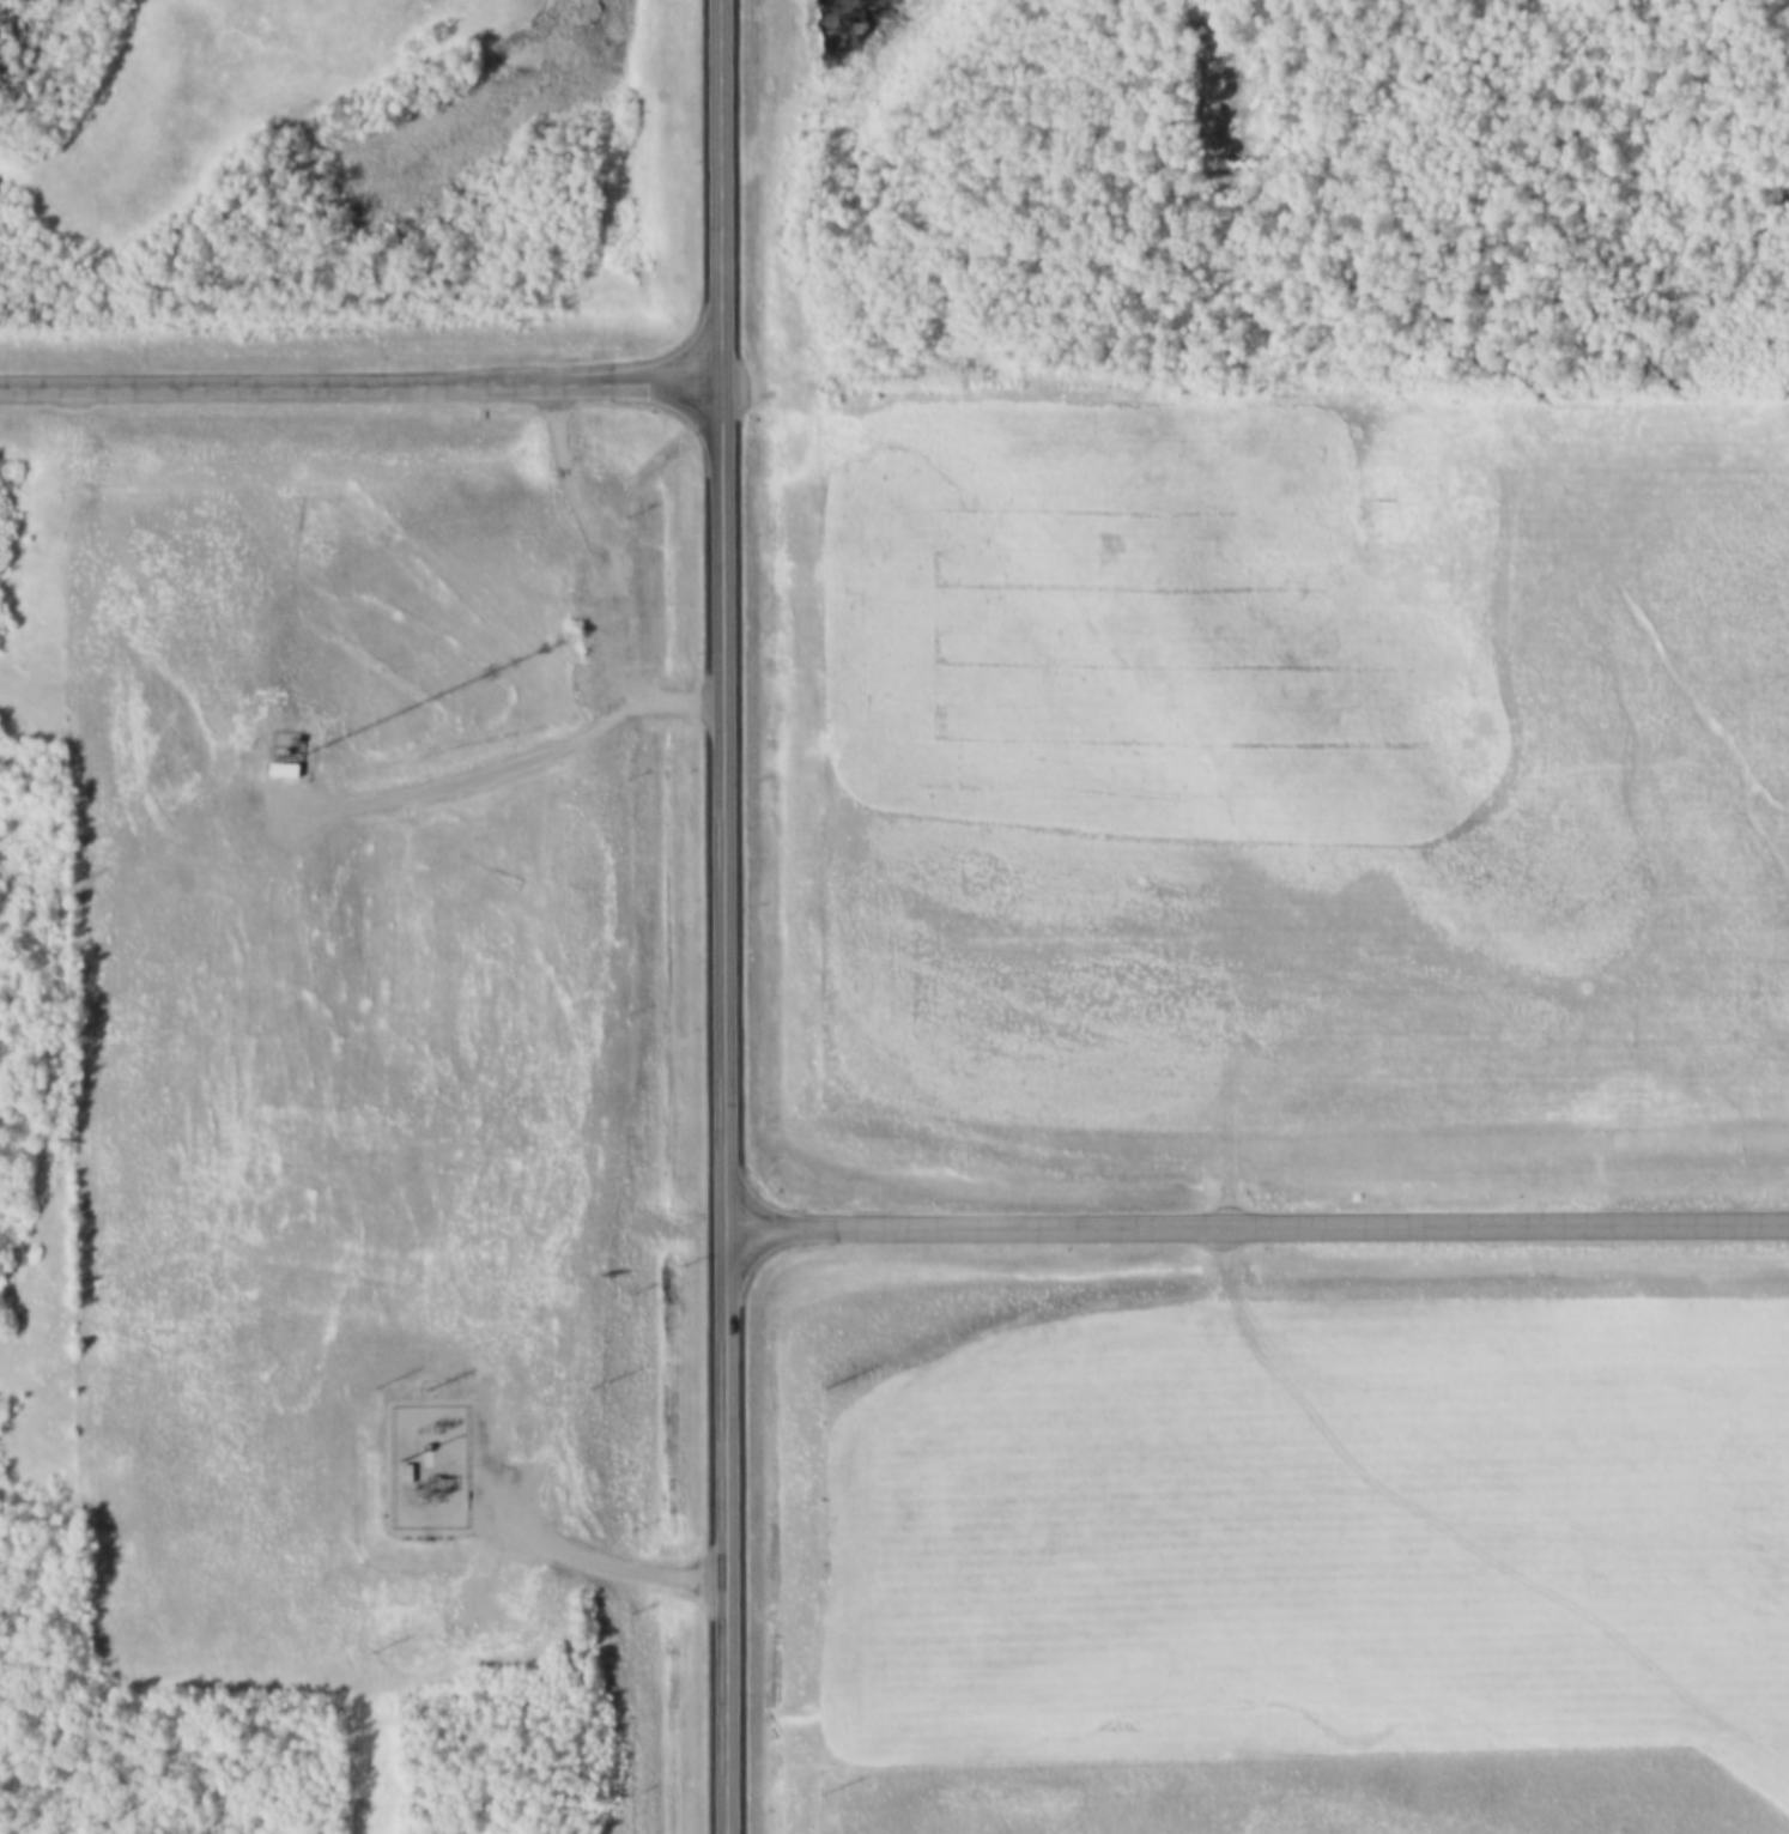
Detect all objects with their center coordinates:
road: (359, 392)
road: (600, 580)
building: (287, 769)
road: (722, 916)
road: (1256, 1229)
power substation: (427, 1465)
road: (593, 1564)

